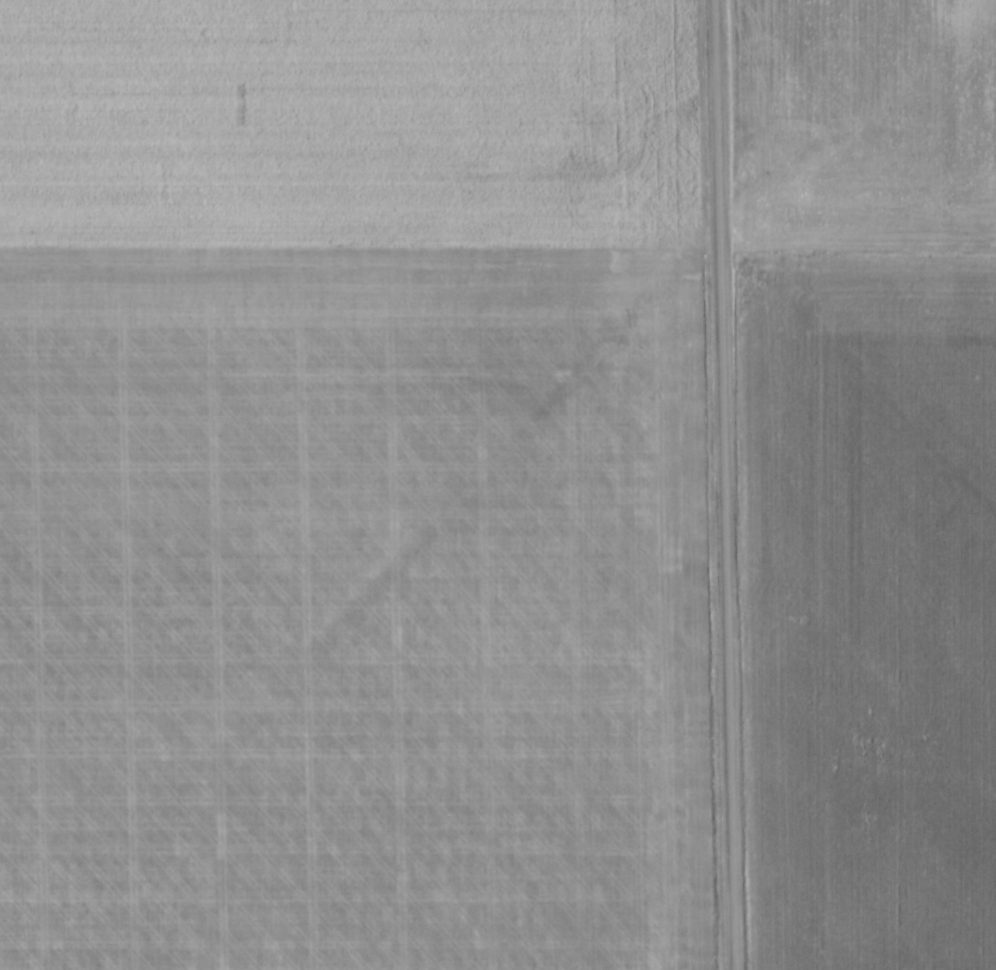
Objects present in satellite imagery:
crop: (865, 478)
road: (719, 484)
crop: (349, 487)

